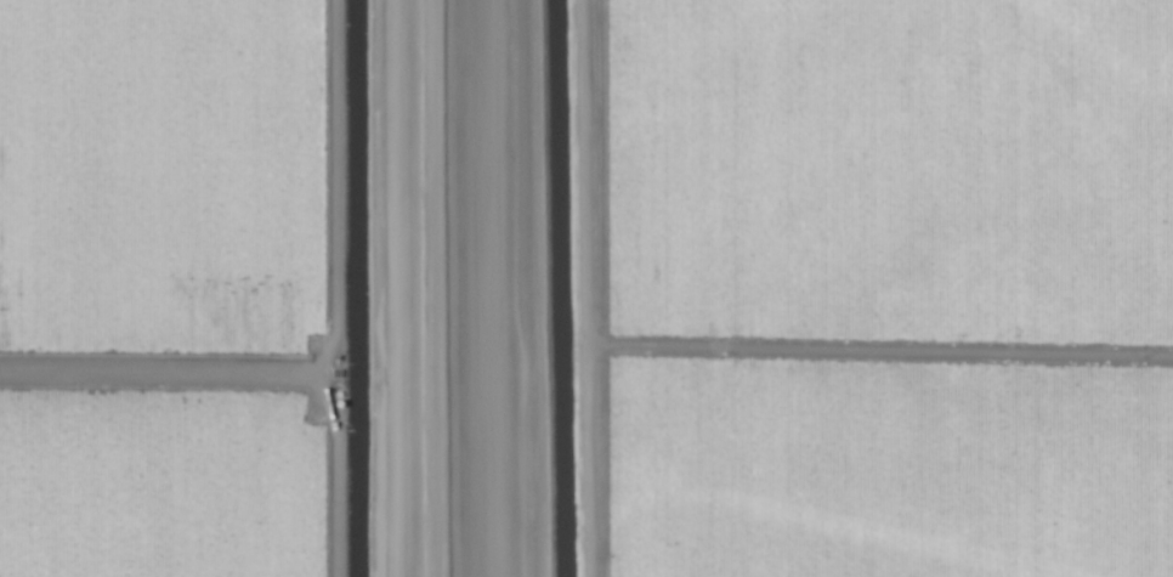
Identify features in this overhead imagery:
road: (426, 288)
crop: (586, 288)

